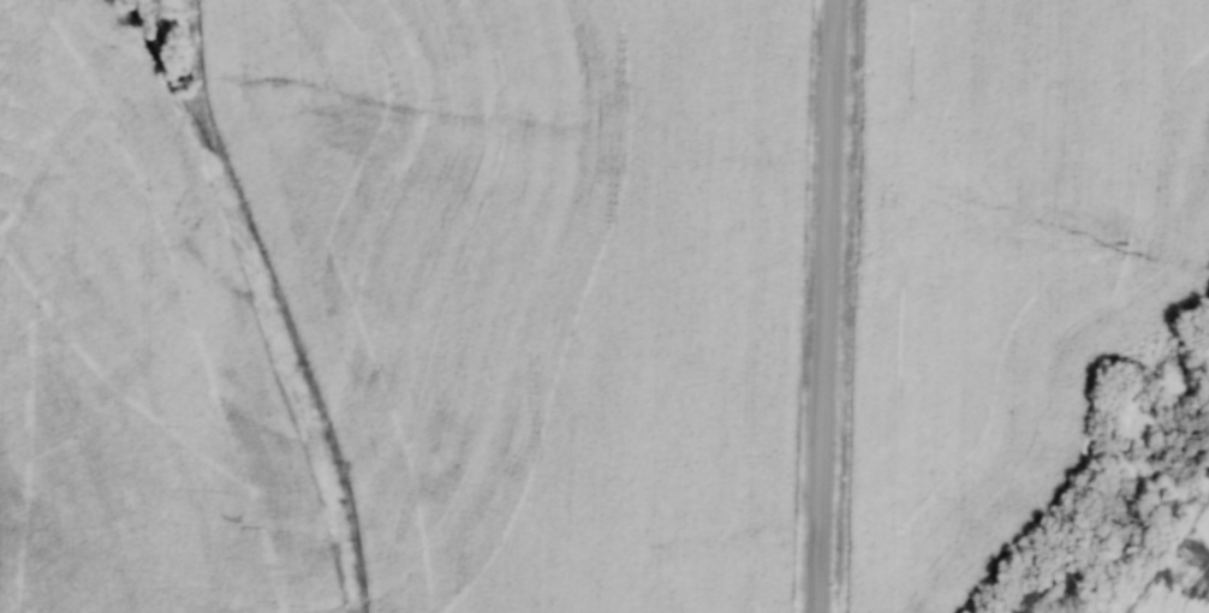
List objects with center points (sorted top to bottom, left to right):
road: (824, 306)

